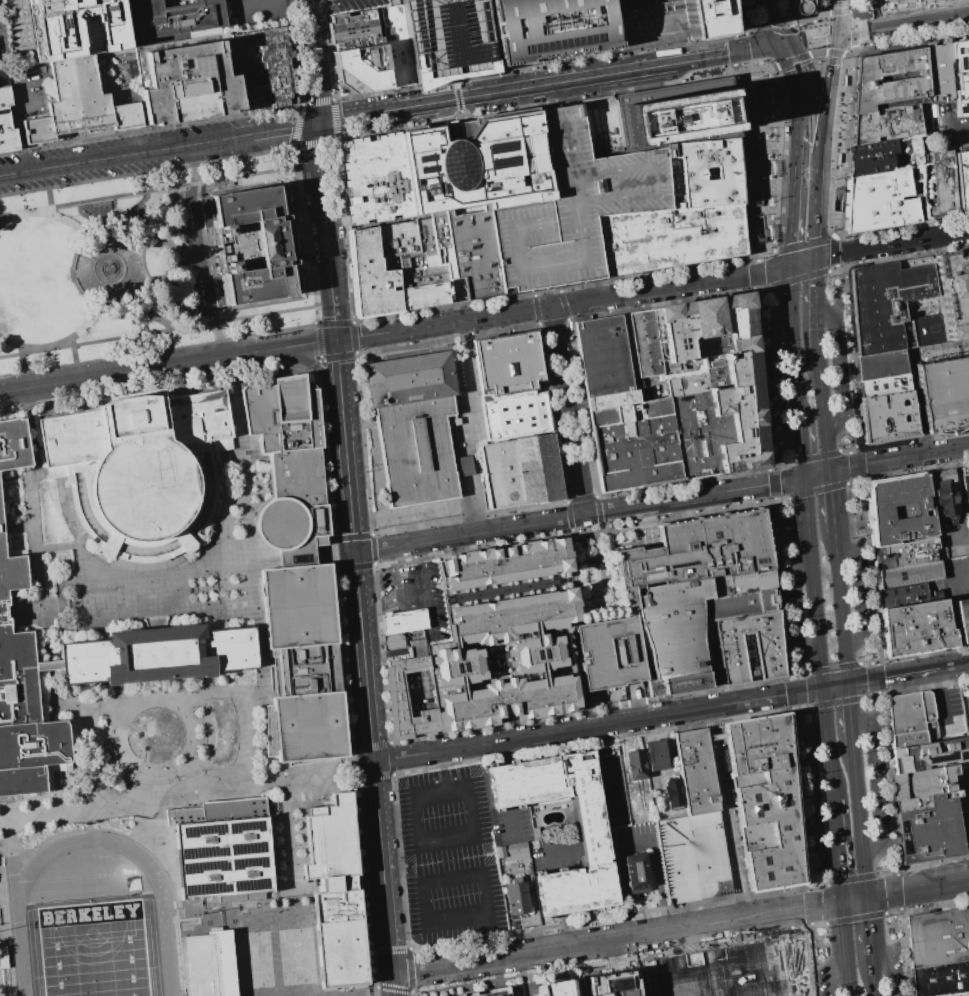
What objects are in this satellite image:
building: (881, 0)
road: (317, 1)
building: (660, 1)
building: (395, 3)
road: (260, 4)
parking lot: (352, 4)
building: (801, 6)
parking lot: (255, 13)
road: (837, 17)
road: (944, 17)
building: (177, 18)
building: (666, 21)
road: (771, 22)
building: (19, 24)
road: (46, 24)
road: (742, 25)
road: (763, 25)
building: (77, 26)
road: (589, 27)
parking lot: (46, 28)
road: (878, 28)
road: (744, 29)
building: (353, 30)
building: (550, 30)
traffic signals: (836, 35)
building: (447, 38)
parking garage: (447, 38)
road: (809, 39)
road: (853, 39)
traffic signals: (783, 45)
rooftop solar panel: (957, 45)
building: (395, 46)
road: (734, 48)
road: (833, 50)
road: (734, 52)
rooftop solar panel: (960, 58)
road: (314, 61)
road: (596, 64)
building: (264, 69)
building: (361, 69)
building: (939, 73)
road: (806, 76)
road: (829, 76)
building: (961, 76)
building: (187, 79)
building: (891, 80)
road: (793, 86)
road: (781, 87)
road: (502, 91)
road: (827, 93)
road: (743, 97)
building: (78, 103)
rooftop solar panel: (962, 105)
road: (824, 107)
building: (676, 113)
building: (6, 121)
road: (20, 123)
traffic signals: (318, 123)
building: (886, 123)
building: (597, 129)
road: (954, 130)
building: (774, 138)
road: (928, 138)
road: (916, 140)
rooftop solar panel: (504, 141)
road: (847, 142)
rooftop solar panel: (493, 143)
road: (756, 147)
road: (159, 149)
road: (900, 151)
road: (794, 152)
rooftop solar panel: (421, 154)
road: (875, 155)
building: (873, 156)
rooftop solar panel: (505, 157)
rooftop solar panel: (493, 158)
road: (849, 159)
road: (742, 161)
building: (482, 164)
rooftop solar panel: (424, 166)
building: (705, 171)
road: (928, 173)
building: (962, 181)
building: (378, 182)
road: (837, 184)
road: (816, 186)
building: (944, 186)
road: (48, 187)
road: (160, 190)
building: (880, 202)
building: (8, 204)
road: (791, 206)
road: (941, 207)
building: (572, 209)
parking lot: (572, 209)
road: (127, 217)
road: (3, 218)
road: (70, 221)
road: (944, 227)
road: (326, 231)
building: (666, 237)
road: (161, 238)
road: (915, 241)
building: (256, 244)
road: (803, 244)
road: (759, 248)
road: (788, 250)
road: (834, 251)
parking lot: (194, 252)
road: (199, 252)
road: (762, 252)
road: (838, 253)
building: (239, 254)
road: (179, 257)
traffic signals: (815, 258)
road: (801, 261)
building: (426, 262)
traffic signals: (788, 264)
park: (126, 266)
fountain: (108, 268)
road: (830, 270)
road: (756, 272)
road: (799, 278)
road: (168, 280)
road: (669, 286)
road: (815, 286)
road: (765, 288)
road: (124, 290)
building: (953, 293)
building: (889, 303)
road: (146, 312)
road: (502, 314)
road: (830, 321)
road: (85, 324)
road: (166, 330)
building: (926, 330)
road: (396, 331)
building: (37, 332)
road: (817, 335)
traffic signals: (336, 340)
road: (15, 344)
road: (302, 344)
road: (792, 346)
road: (171, 348)
building: (600, 356)
road: (852, 356)
road: (75, 362)
building: (506, 362)
building: (883, 365)
road: (23, 370)
road: (134, 371)
road: (763, 377)
road: (779, 377)
road: (339, 378)
building: (886, 386)
road: (839, 387)
road: (821, 394)
building: (944, 395)
building: (681, 397)
road: (471, 410)
road: (566, 410)
building: (514, 414)
building: (890, 417)
building: (414, 427)
building: (12, 447)
road: (848, 450)
road: (802, 452)
road: (826, 452)
road: (813, 457)
road: (898, 458)
road: (857, 460)
road: (781, 466)
building: (288, 468)
building: (140, 471)
building: (519, 471)
traffic signals: (829, 471)
road: (859, 471)
road: (773, 476)
traffic signals: (804, 477)
road: (860, 478)
road: (684, 482)
road: (852, 482)
building: (965, 486)
road: (774, 489)
road: (816, 491)
road: (706, 494)
building: (944, 495)
road: (581, 498)
road: (831, 499)
road: (473, 500)
road: (781, 500)
building: (898, 508)
road: (468, 509)
road: (409, 510)
road: (598, 511)
road: (568, 516)
road: (468, 518)
road: (471, 525)
building: (968, 529)
road: (573, 531)
road: (469, 533)
road: (422, 549)
road: (372, 550)
building: (905, 553)
road: (390, 554)
rooftop solar panel: (680, 562)
building: (504, 564)
building: (11, 568)
road: (871, 572)
building: (907, 575)
building: (741, 581)
building: (553, 582)
road: (812, 582)
road: (779, 588)
road: (357, 589)
parking lot: (415, 592)
building: (909, 594)
road: (858, 595)
road: (412, 599)
building: (628, 602)
road: (799, 602)
road: (841, 606)
building: (5, 611)
road: (430, 616)
building: (512, 616)
building: (963, 617)
building: (403, 620)
building: (915, 626)
building: (687, 628)
road: (534, 635)
building: (393, 640)
building: (417, 647)
building: (748, 647)
road: (454, 648)
building: (536, 652)
road: (922, 652)
building: (157, 654)
road: (381, 654)
road: (868, 661)
building: (457, 664)
building: (47, 665)
building: (302, 665)
road: (952, 666)
road: (834, 667)
road: (541, 673)
road: (800, 673)
road: (891, 675)
road: (876, 678)
traffic signals: (848, 683)
road: (835, 685)
road: (460, 686)
road: (923, 687)
traffic signals: (822, 688)
building: (964, 691)
road: (797, 692)
road: (878, 693)
road: (868, 697)
road: (940, 699)
building: (406, 700)
building: (504, 702)
road: (834, 703)
road: (803, 706)
road: (591, 709)
road: (849, 714)
building: (912, 718)
building: (24, 721)
road: (597, 724)
road: (601, 731)
road: (594, 740)
road: (827, 743)
road: (369, 747)
road: (499, 748)
building: (931, 753)
building: (655, 755)
rooftop solar panel: (961, 755)
rooftop solar panel: (939, 757)
road: (390, 758)
road: (441, 758)
road: (501, 760)
building: (635, 770)
building: (694, 771)
road: (372, 776)
road: (443, 778)
road: (605, 780)
building: (925, 781)
road: (874, 784)
road: (505, 785)
road: (891, 785)
building: (672, 795)
road: (818, 796)
road: (801, 798)
road: (187, 800)
building: (764, 800)
building: (915, 804)
road: (726, 812)
road: (834, 818)
road: (511, 819)
road: (859, 821)
rooftop solar panel: (252, 824)
rooftop solar panel: (236, 826)
rooftop solar panel: (202, 828)
building: (934, 829)
road: (440, 838)
building: (592, 838)
rooftop solar panel: (251, 846)
building: (220, 849)
rooftop solar panel: (238, 849)
rooftop solar panel: (202, 851)
road: (549, 851)
building: (499, 852)
building: (515, 852)
building: (692, 855)
parking lot: (449, 856)
rooftop solar panel: (252, 863)
rooftop solar panel: (238, 865)
rooftop solar panel: (203, 866)
road: (656, 866)
building: (619, 869)
road: (839, 869)
building: (638, 870)
road: (885, 873)
road: (383, 878)
road: (851, 878)
road: (820, 883)
rooftop solar panel: (252, 884)
road: (423, 885)
rooftop solar panel: (240, 886)
road: (917, 889)
rooftop solar panel: (207, 890)
building: (335, 891)
road: (556, 893)
road: (896, 893)
building: (516, 898)
traffic signals: (866, 898)
road: (854, 900)
traffic signals: (842, 902)
road: (813, 907)
road: (889, 912)
track: (17, 913)
road: (854, 918)
stadium: (97, 920)
road: (820, 924)
road: (563, 930)
road: (868, 930)
road: (491, 936)
building: (938, 936)
road: (617, 938)
road: (845, 949)
park: (94, 950)
road: (906, 952)
road: (815, 958)
building: (207, 965)
road: (891, 970)
building: (731, 971)
building: (4, 972)
road: (835, 977)
building: (940, 978)
road: (873, 979)
building: (611, 984)
building: (552, 988)
building: (492, 993)

